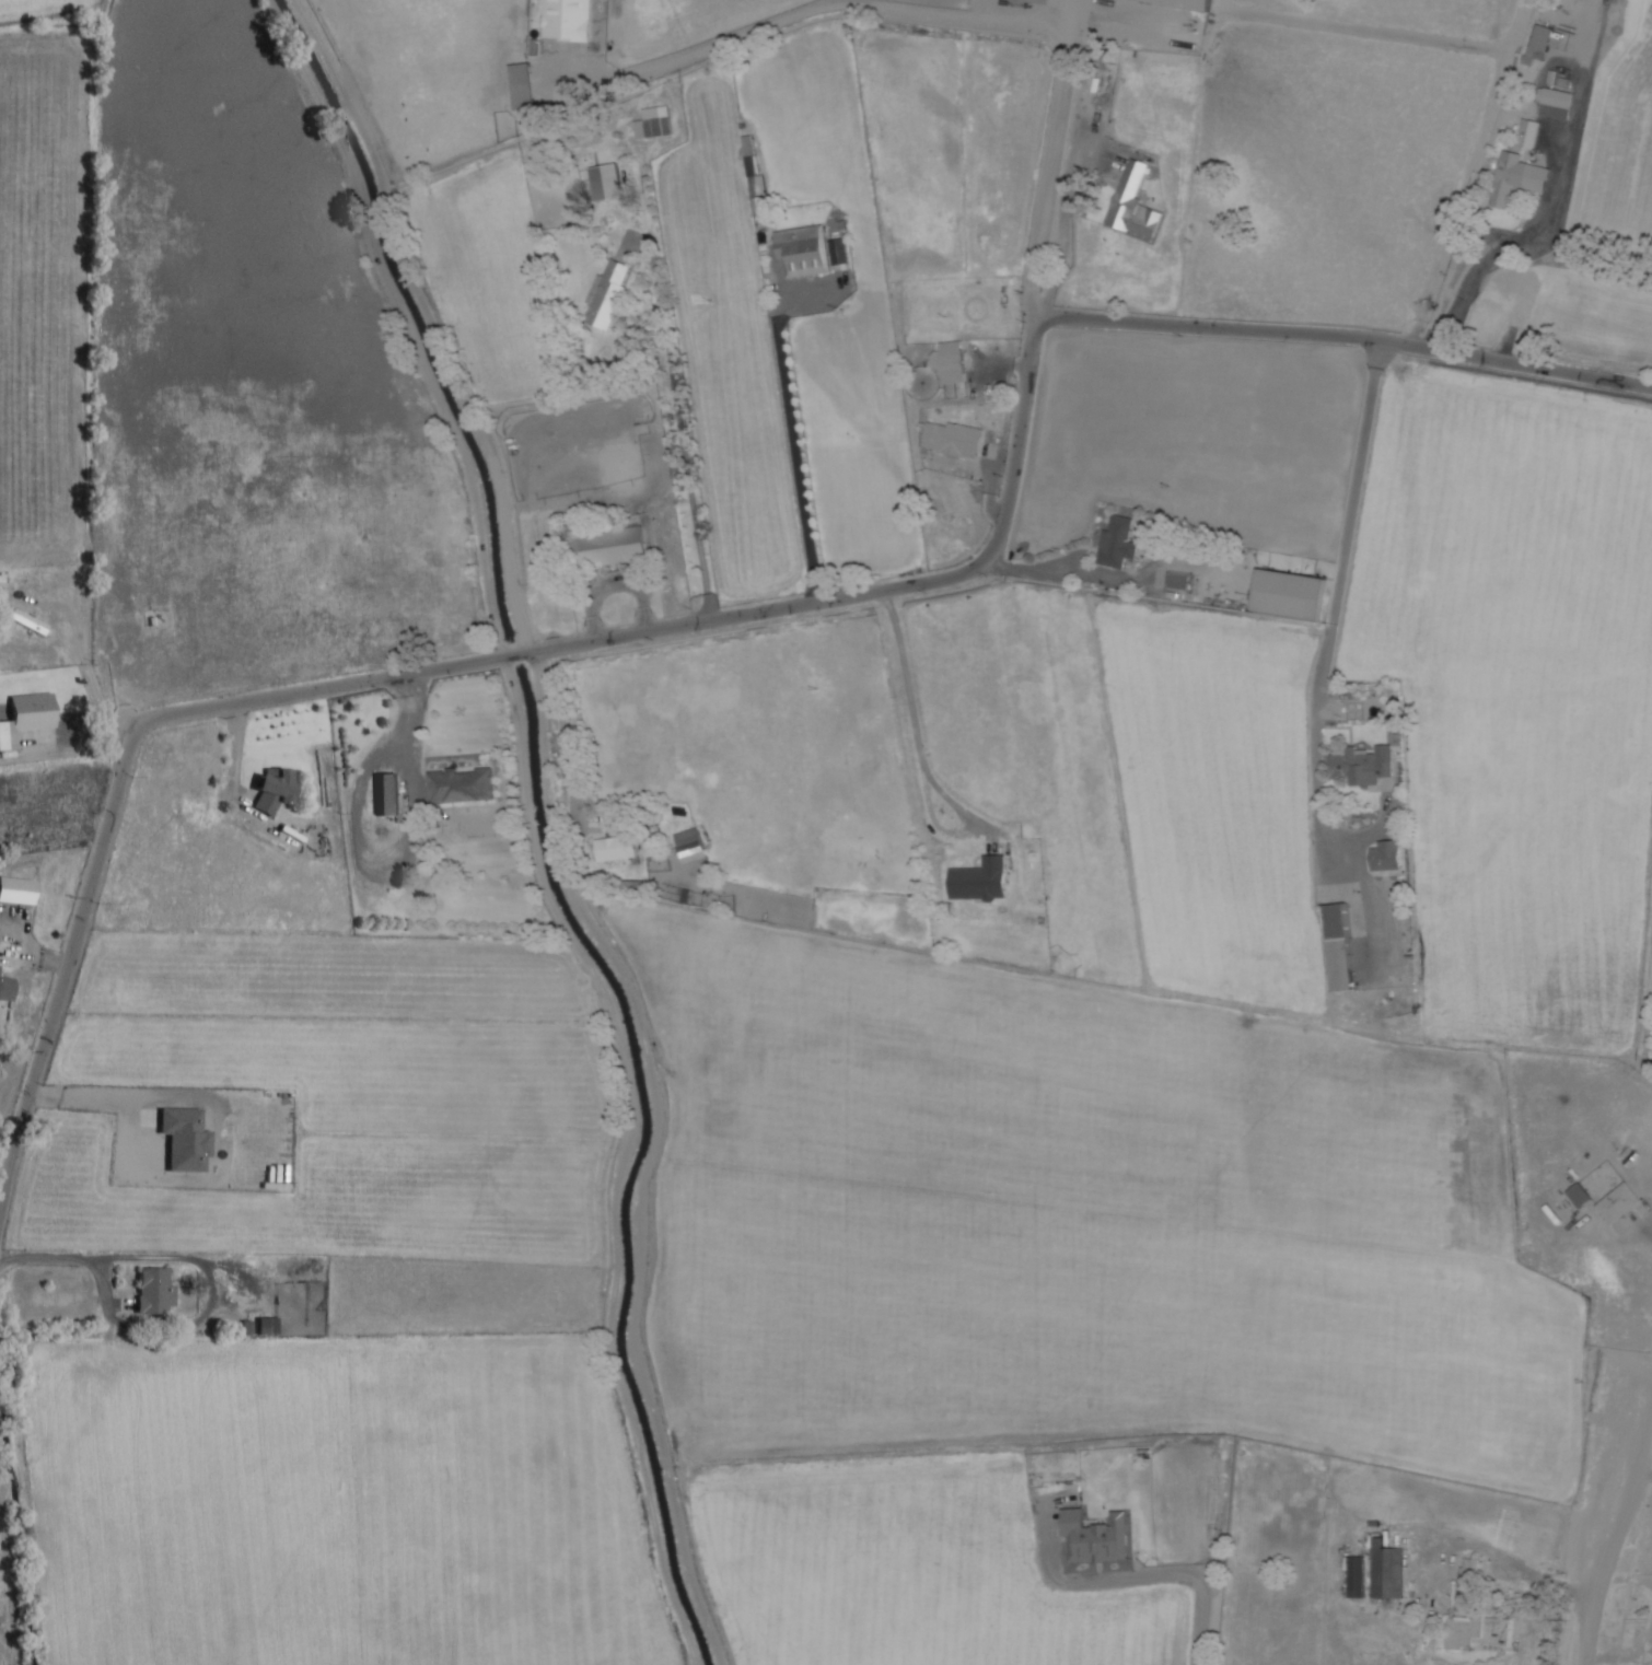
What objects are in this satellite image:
building: (1188, 3)
road: (980, 16)
building: (568, 20)
building: (1542, 43)
building: (523, 96)
building: (1555, 103)
building: (658, 121)
building: (1529, 126)
building: (1509, 178)
building: (606, 182)
building: (1133, 202)
road: (1062, 249)
building: (803, 251)
building: (606, 295)
building: (953, 362)
road: (684, 438)
building: (954, 439)
road: (798, 459)
building: (1118, 543)
building: (607, 548)
building: (1178, 581)
building: (1291, 594)
road: (1336, 614)
road: (740, 615)
building: (31, 621)
road: (100, 698)
building: (27, 717)
building: (1364, 765)
building: (461, 785)
building: (277, 790)
building: (387, 794)
building: (690, 846)
building: (616, 849)
building: (1387, 857)
building: (980, 881)
building: (635, 887)
building: (1338, 946)
building: (0, 968)
building: (1, 987)
building: (1580, 1195)
building: (1618, 1203)
building: (156, 1293)
building: (266, 1326)
building: (1095, 1537)
road: (1616, 1541)
building: (1470, 1569)
building: (1386, 1571)
road: (1151, 1575)
building: (1357, 1576)
building: (1478, 1633)

